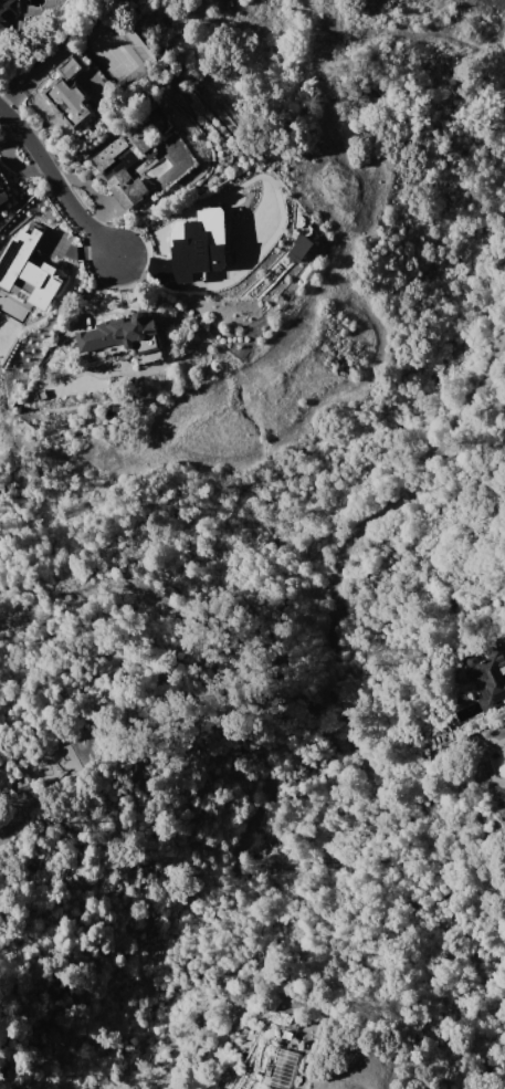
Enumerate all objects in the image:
building: (7, 12)
building: (70, 92)
building: (124, 164)
building: (0, 166)
road: (57, 180)
building: (3, 189)
building: (198, 245)
building: (301, 248)
building: (27, 270)
building: (125, 337)
building: (486, 676)

